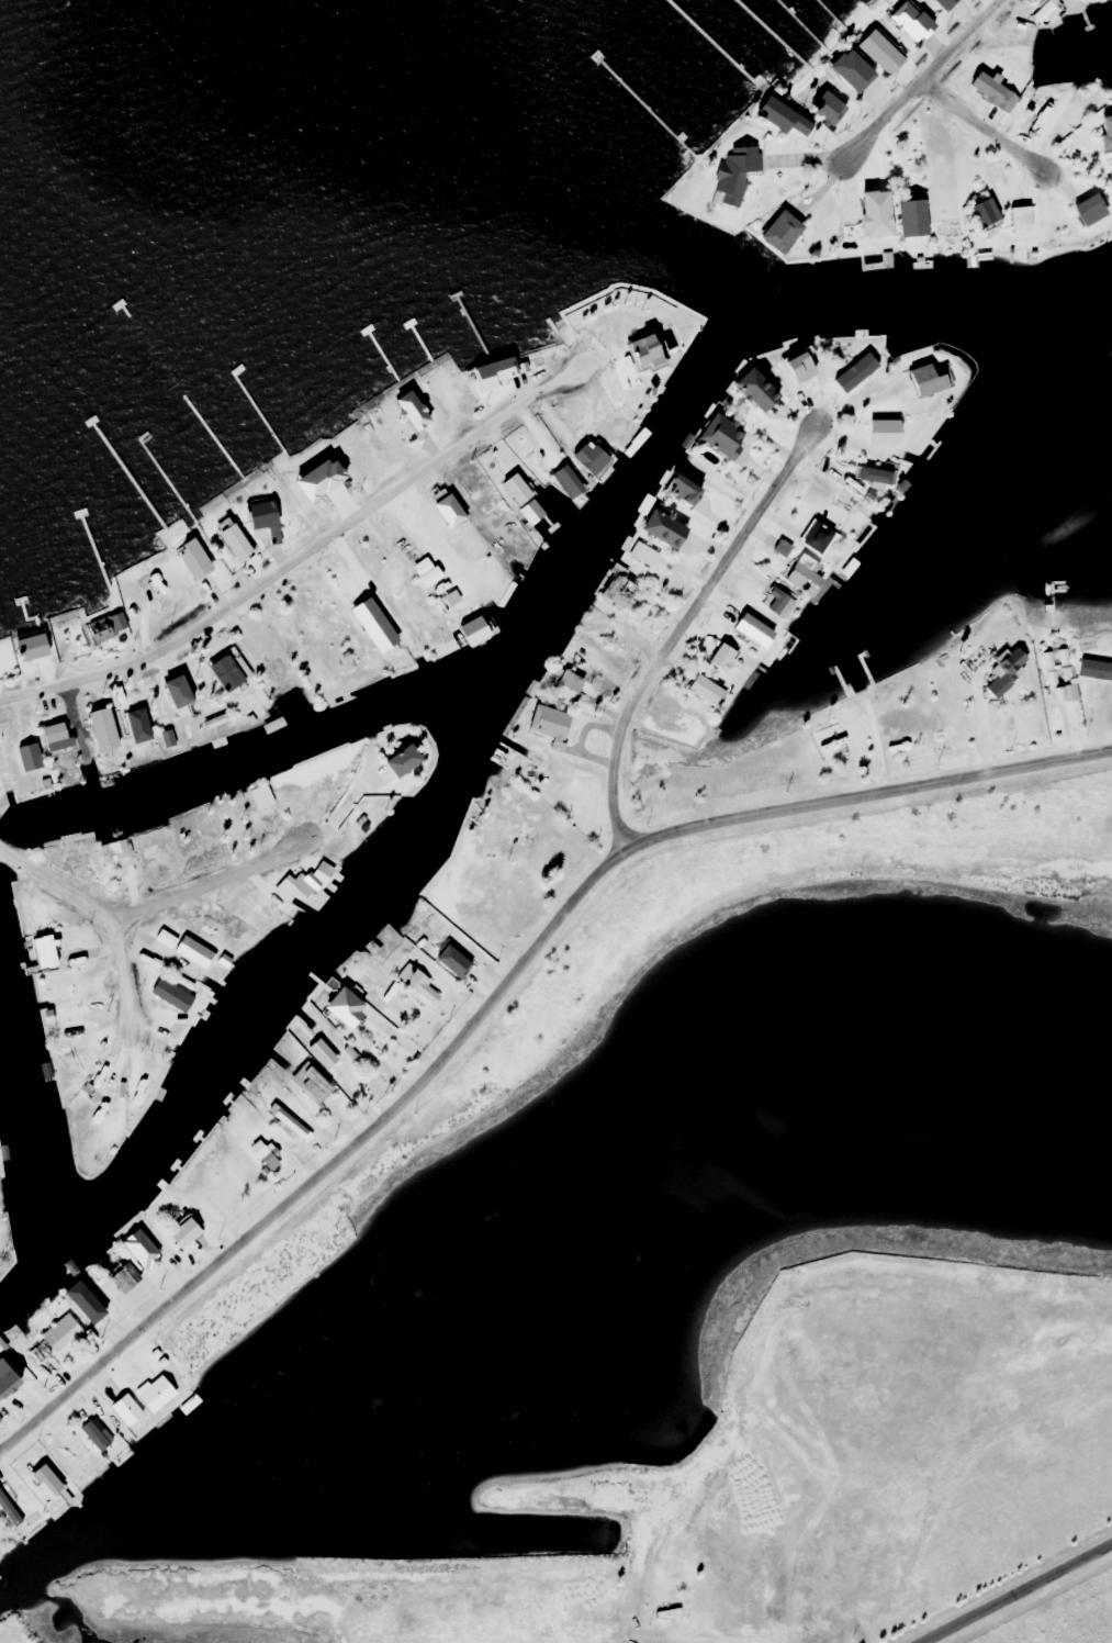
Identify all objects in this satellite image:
building: (1072, 1)
building: (936, 4)
building: (1041, 12)
building: (901, 21)
building: (872, 52)
building: (840, 71)
road: (916, 80)
building: (1006, 102)
building: (820, 109)
building: (773, 118)
road: (979, 125)
building: (1103, 131)
building: (726, 175)
building: (1083, 210)
building: (979, 212)
building: (872, 219)
building: (906, 219)
building: (1018, 221)
building: (766, 233)
building: (625, 366)
building: (853, 369)
building: (789, 371)
building: (483, 373)
building: (923, 381)
building: (748, 390)
building: (442, 395)
building: (406, 413)
building: (877, 433)
building: (718, 437)
building: (359, 457)
building: (584, 458)
building: (869, 476)
building: (323, 477)
building: (470, 485)
building: (671, 491)
building: (516, 499)
building: (842, 503)
building: (485, 508)
building: (443, 512)
building: (268, 514)
building: (811, 539)
building: (242, 544)
road: (299, 552)
building: (638, 555)
building: (200, 560)
building: (800, 577)
building: (159, 589)
building: (611, 591)
building: (774, 604)
building: (93, 625)
road: (676, 626)
building: (744, 629)
building: (470, 630)
building: (45, 647)
building: (439, 648)
building: (579, 655)
building: (716, 658)
building: (973, 660)
building: (1009, 661)
building: (280, 669)
building: (323, 670)
building: (233, 673)
building: (1086, 675)
building: (996, 688)
building: (564, 690)
building: (699, 690)
building: (184, 693)
building: (902, 719)
building: (542, 725)
building: (116, 726)
building: (61, 737)
building: (825, 744)
building: (409, 762)
road: (863, 792)
building: (265, 797)
building: (289, 804)
building: (368, 819)
building: (234, 824)
building: (491, 828)
building: (120, 851)
building: (80, 857)
building: (94, 871)
road: (57, 881)
road: (207, 883)
building: (307, 883)
building: (501, 904)
building: (44, 916)
building: (210, 934)
building: (168, 939)
building: (196, 952)
building: (50, 953)
building: (467, 965)
road: (122, 974)
building: (419, 983)
building: (67, 988)
building: (378, 991)
building: (179, 998)
building: (351, 1009)
building: (80, 1011)
building: (80, 1051)
building: (328, 1057)
building: (315, 1083)
building: (145, 1089)
building: (97, 1120)
building: (267, 1155)
road: (326, 1165)
building: (190, 1232)
building: (147, 1255)
building: (124, 1278)
building: (94, 1305)
building: (64, 1333)
building: (42, 1352)
building: (16, 1376)
building: (161, 1393)
building: (132, 1411)
building: (64, 1429)
building: (100, 1437)
building: (77, 1443)
building: (66, 1458)
building: (55, 1482)
building: (10, 1508)
road: (1010, 1590)

